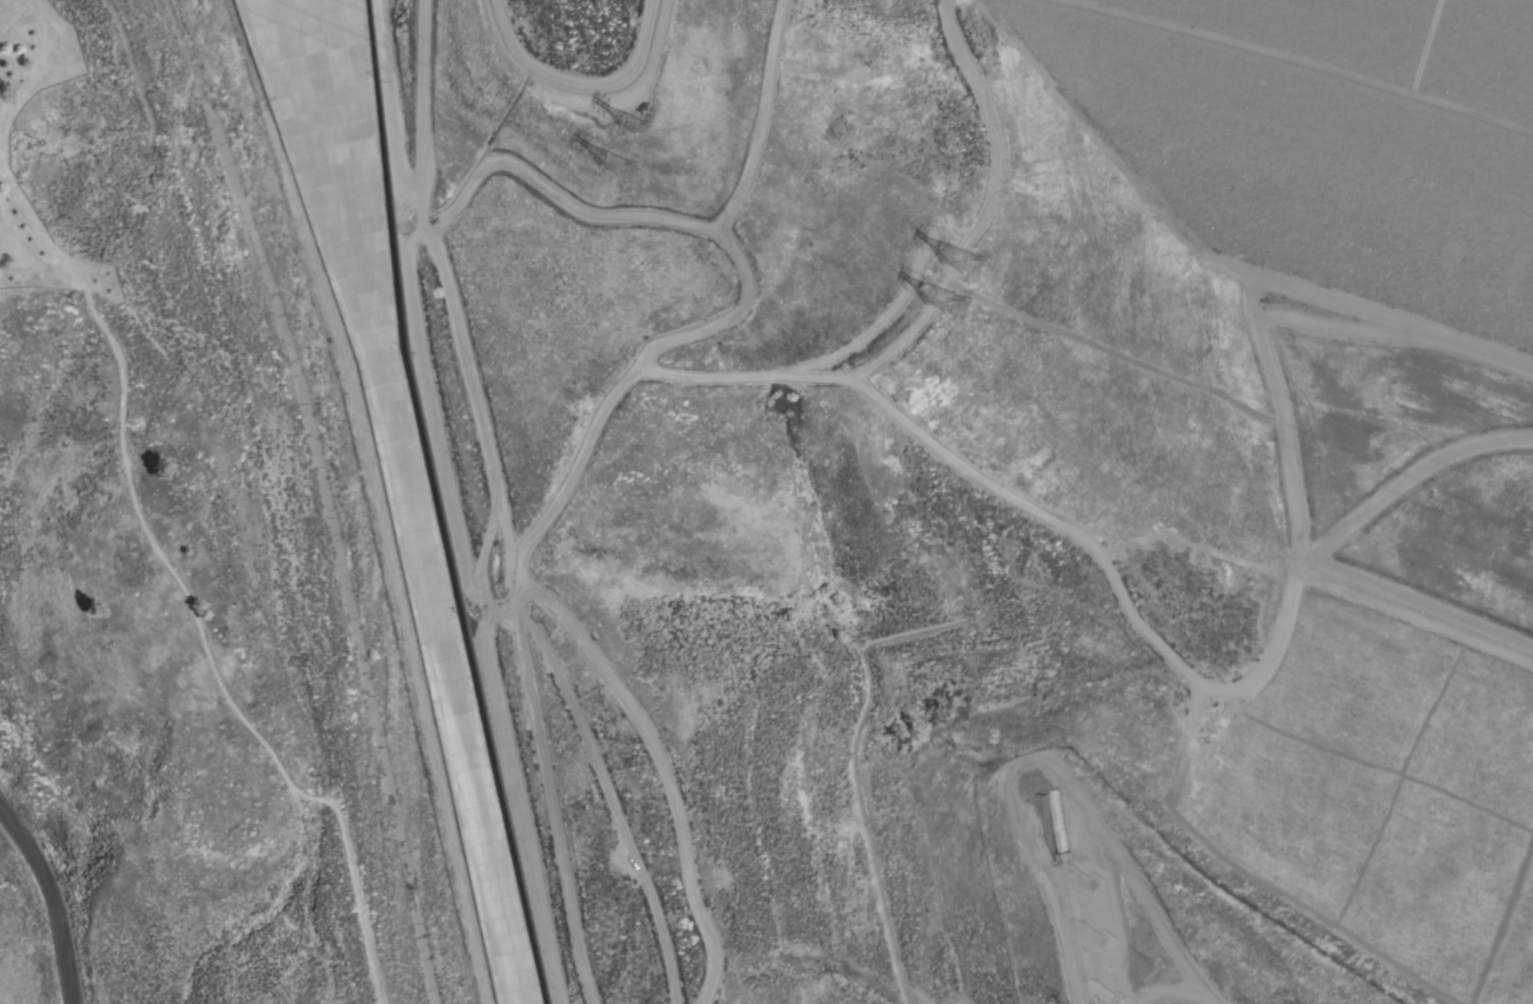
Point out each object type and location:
road: (38, 70)
power tower: (627, 124)
dam: (1322, 136)
power tower: (614, 167)
power tower: (953, 260)
power tower: (934, 300)
road: (181, 588)
park: (153, 595)
road: (53, 897)
building: (1084, 931)

